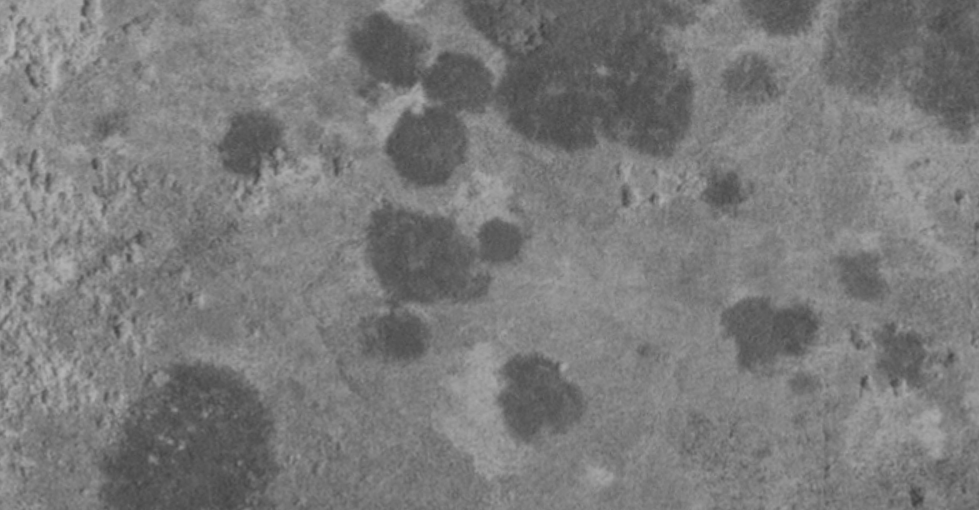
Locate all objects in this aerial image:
building: (962, 137)

